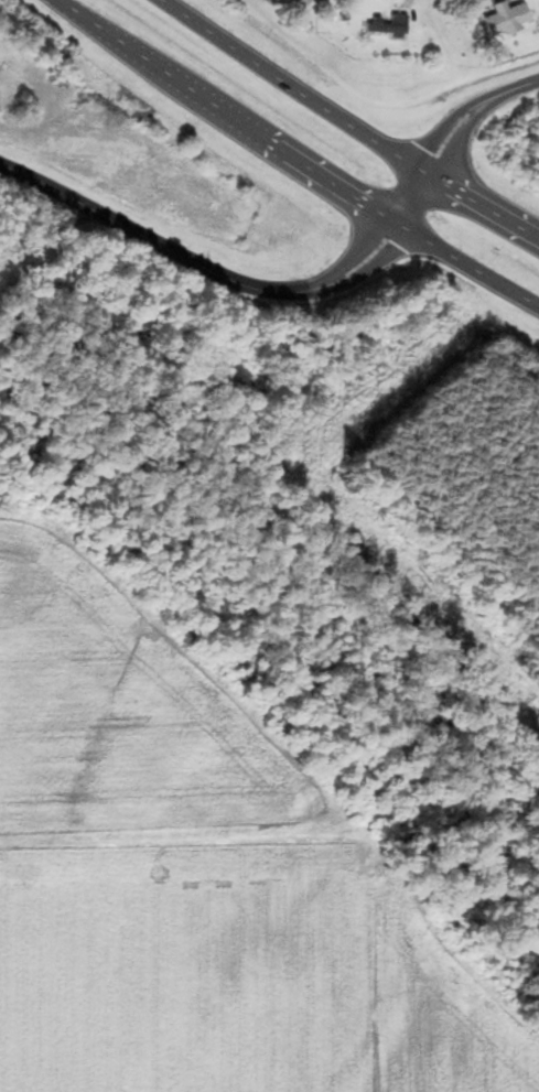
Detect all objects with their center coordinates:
building: (508, 20)
building: (391, 26)
building: (11, 80)
road: (346, 125)
road: (293, 161)
road: (301, 294)

